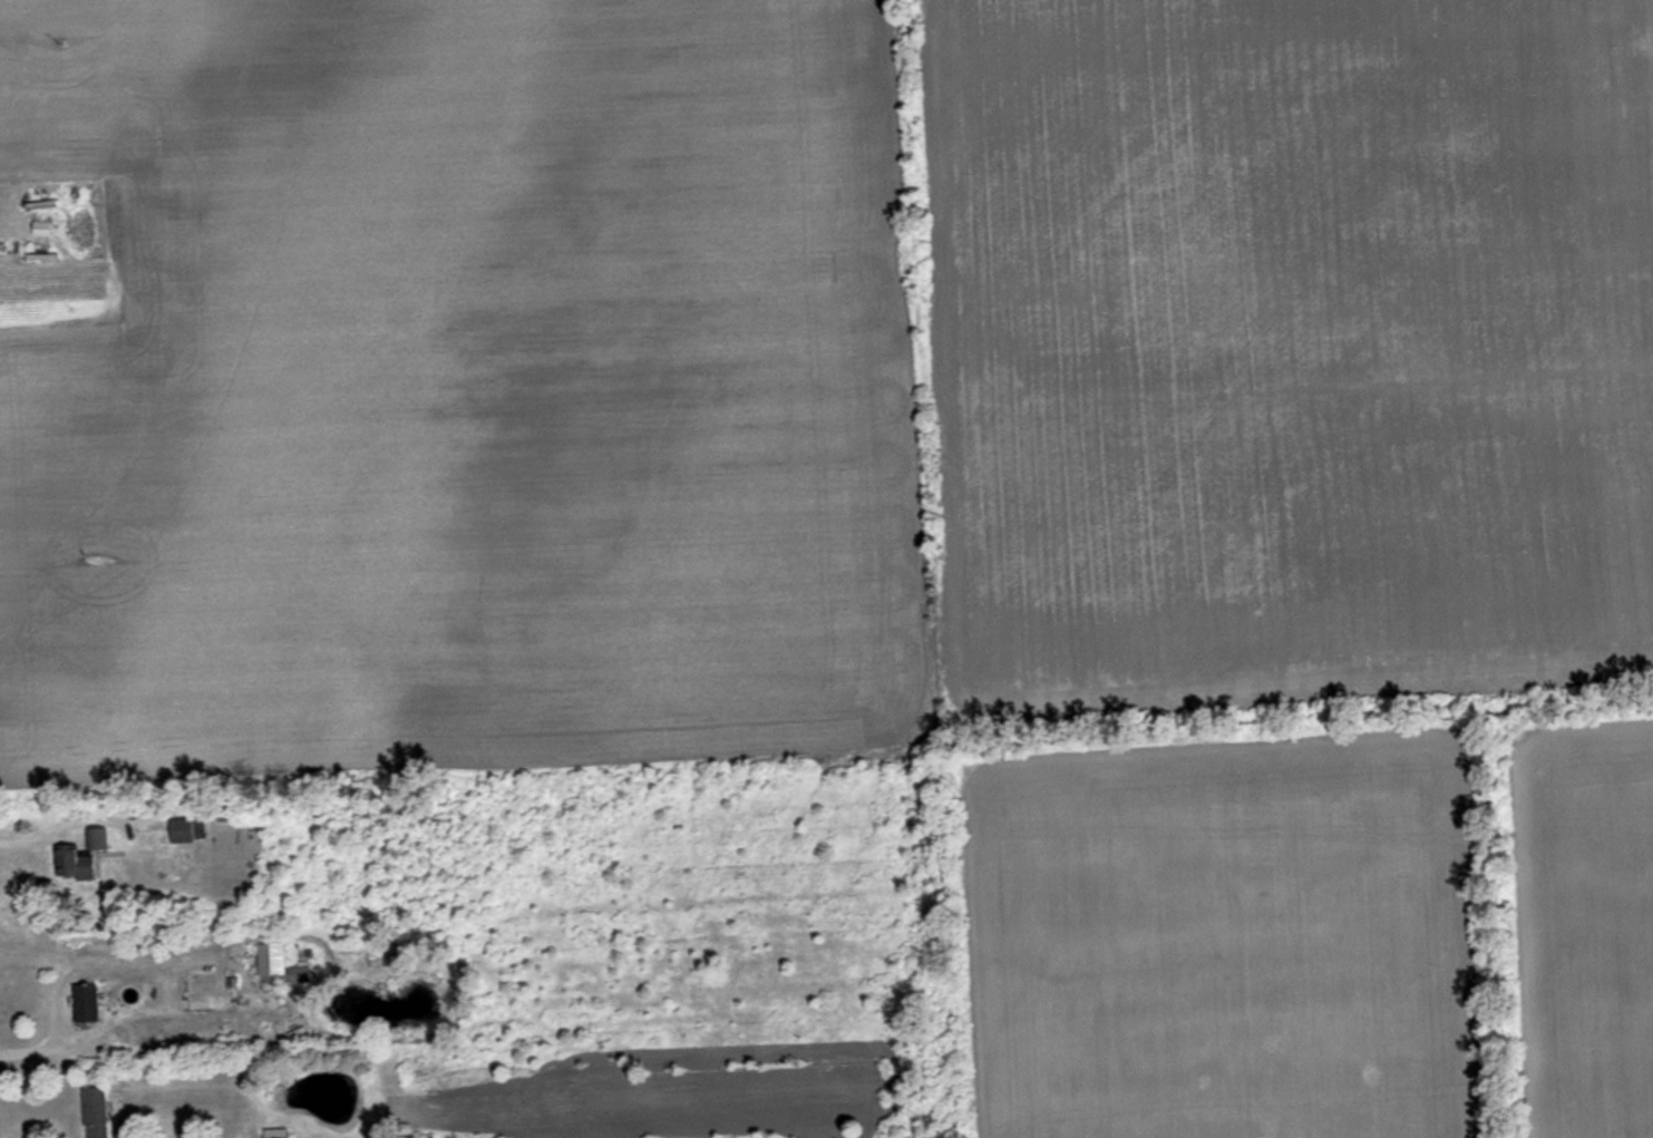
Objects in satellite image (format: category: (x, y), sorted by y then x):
road: (41, 824)
building: (187, 829)
building: (82, 857)
building: (390, 953)
building: (278, 965)
building: (84, 1002)
road: (39, 1044)
building: (95, 1112)
building: (275, 1137)

